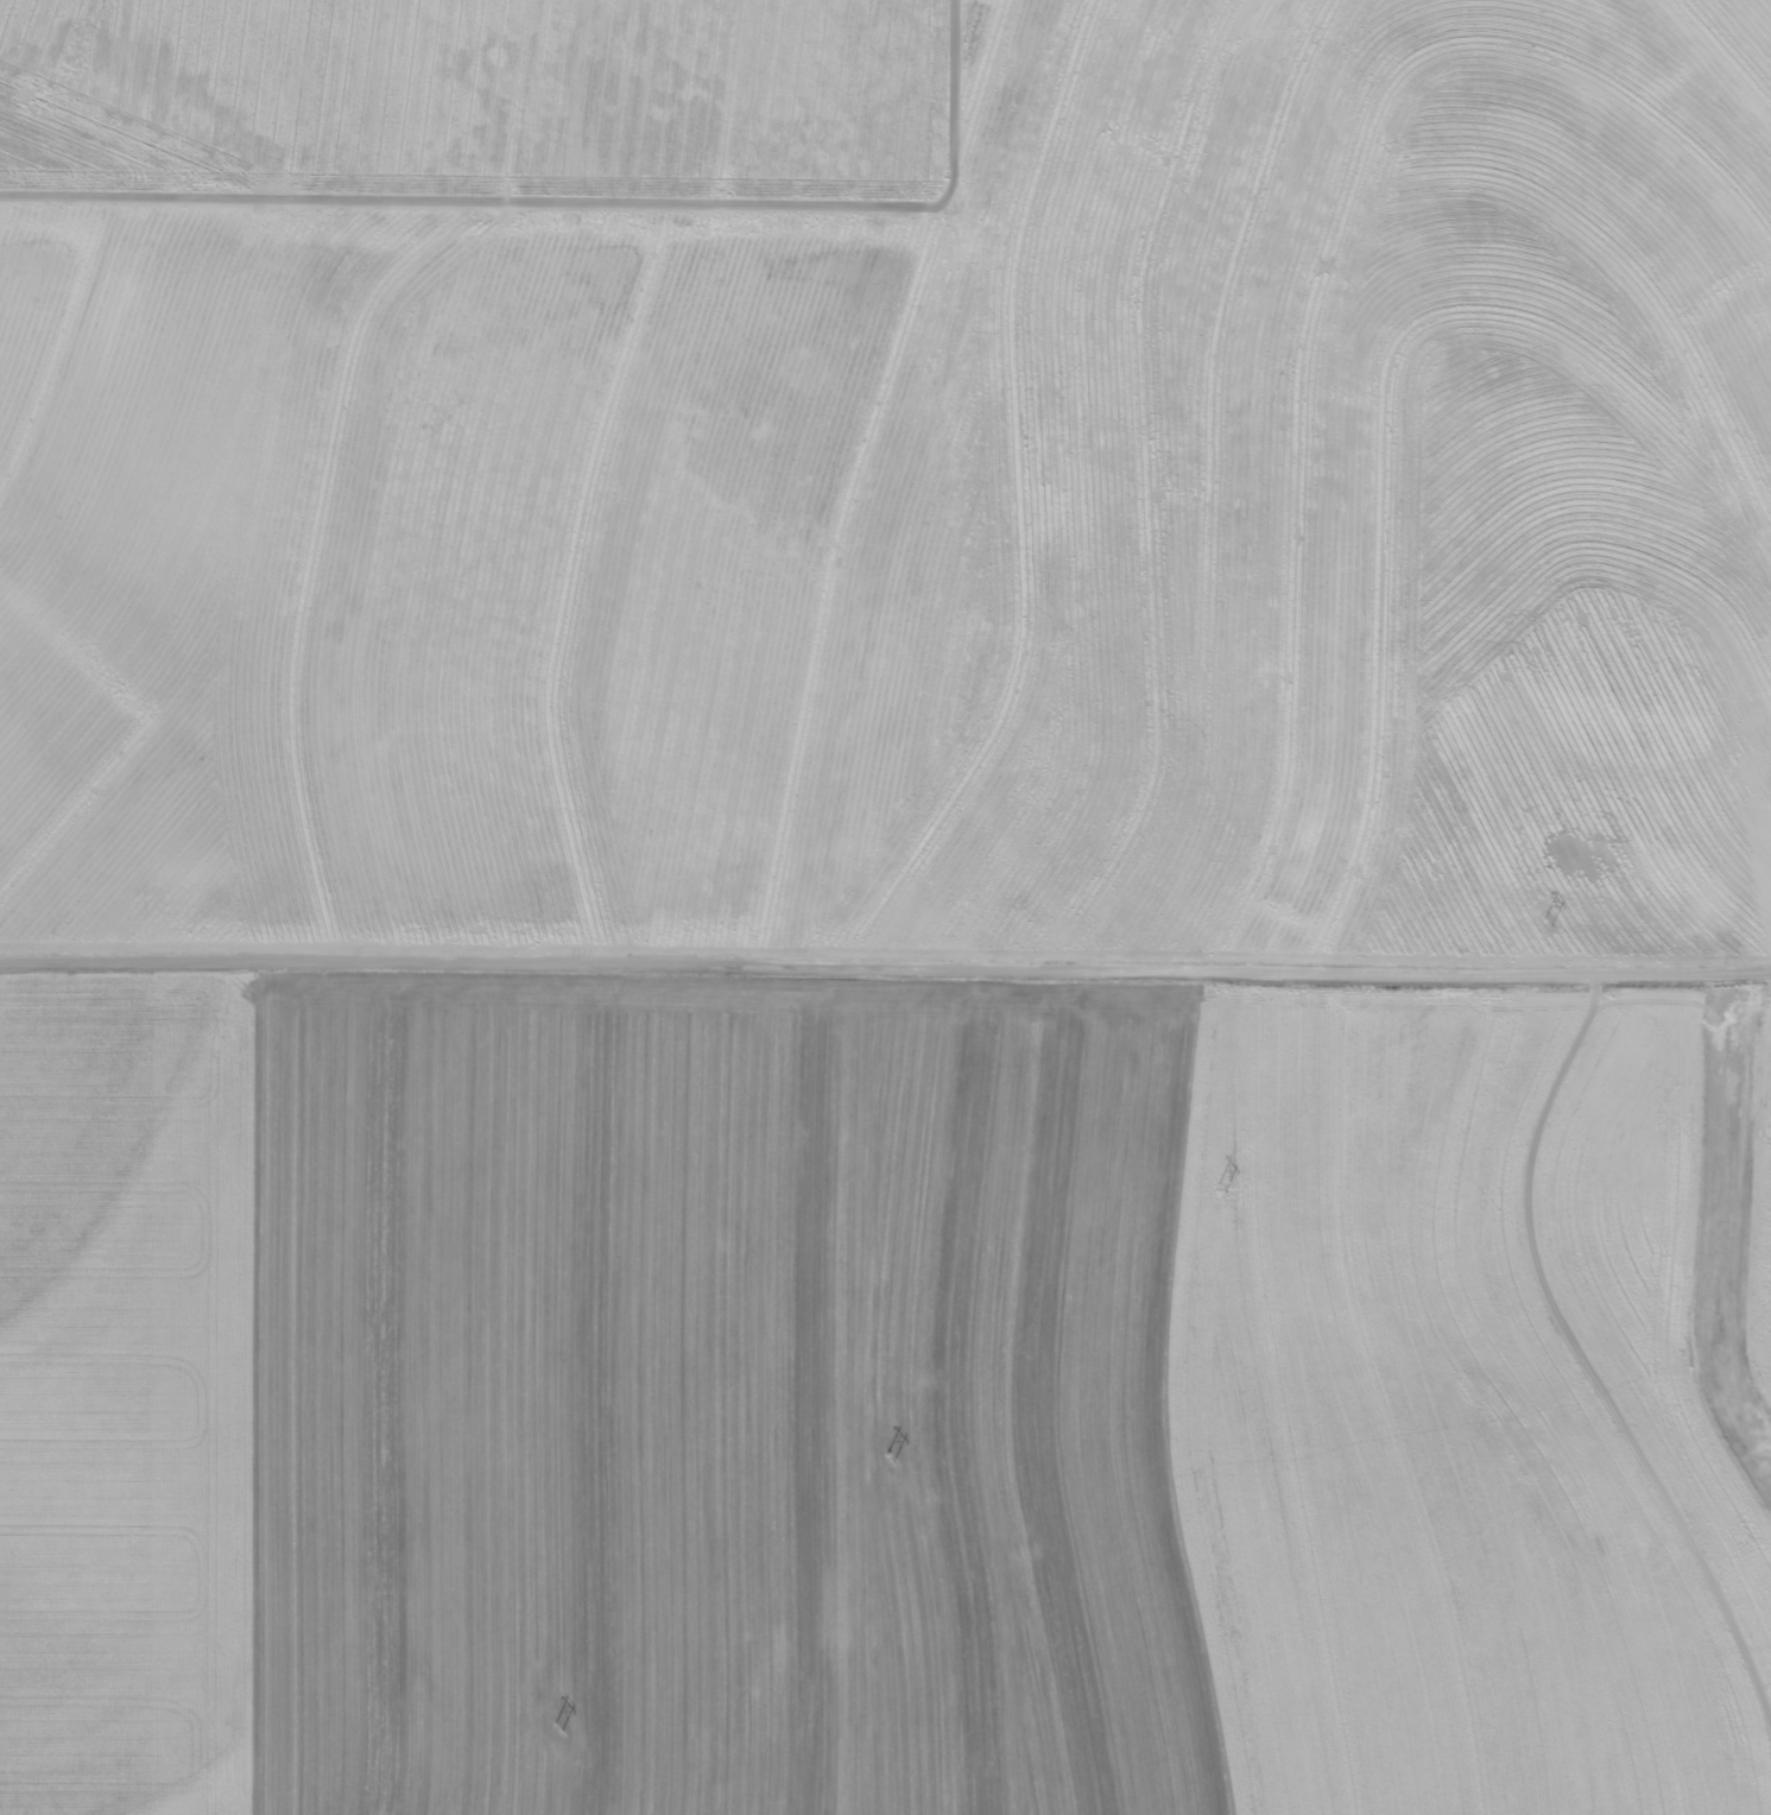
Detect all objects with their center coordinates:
road: (1539, 511)
power tower: (1554, 922)
road: (885, 970)
power tower: (1227, 1189)
road: (1568, 1303)
power tower: (900, 1460)
power tower: (563, 1740)

